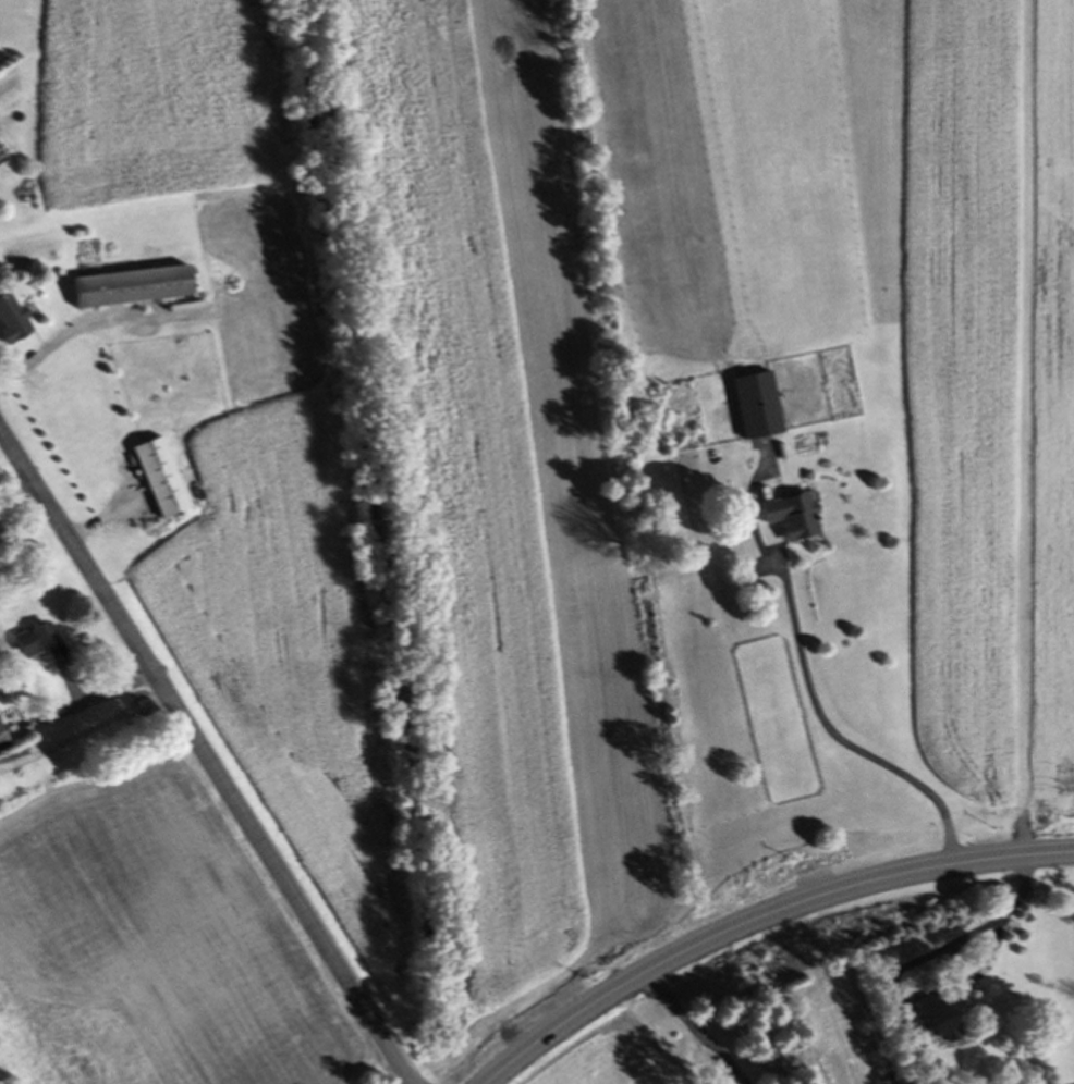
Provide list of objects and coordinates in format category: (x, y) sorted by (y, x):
building: (130, 290)
road: (83, 320)
building: (12, 322)
building: (757, 408)
building: (635, 436)
building: (159, 480)
road: (12, 483)
building: (792, 518)
building: (33, 643)
road: (839, 735)
road: (84, 738)
building: (3, 743)
road: (207, 762)
road: (761, 920)
road: (952, 939)
building: (928, 1019)
road: (695, 1028)

